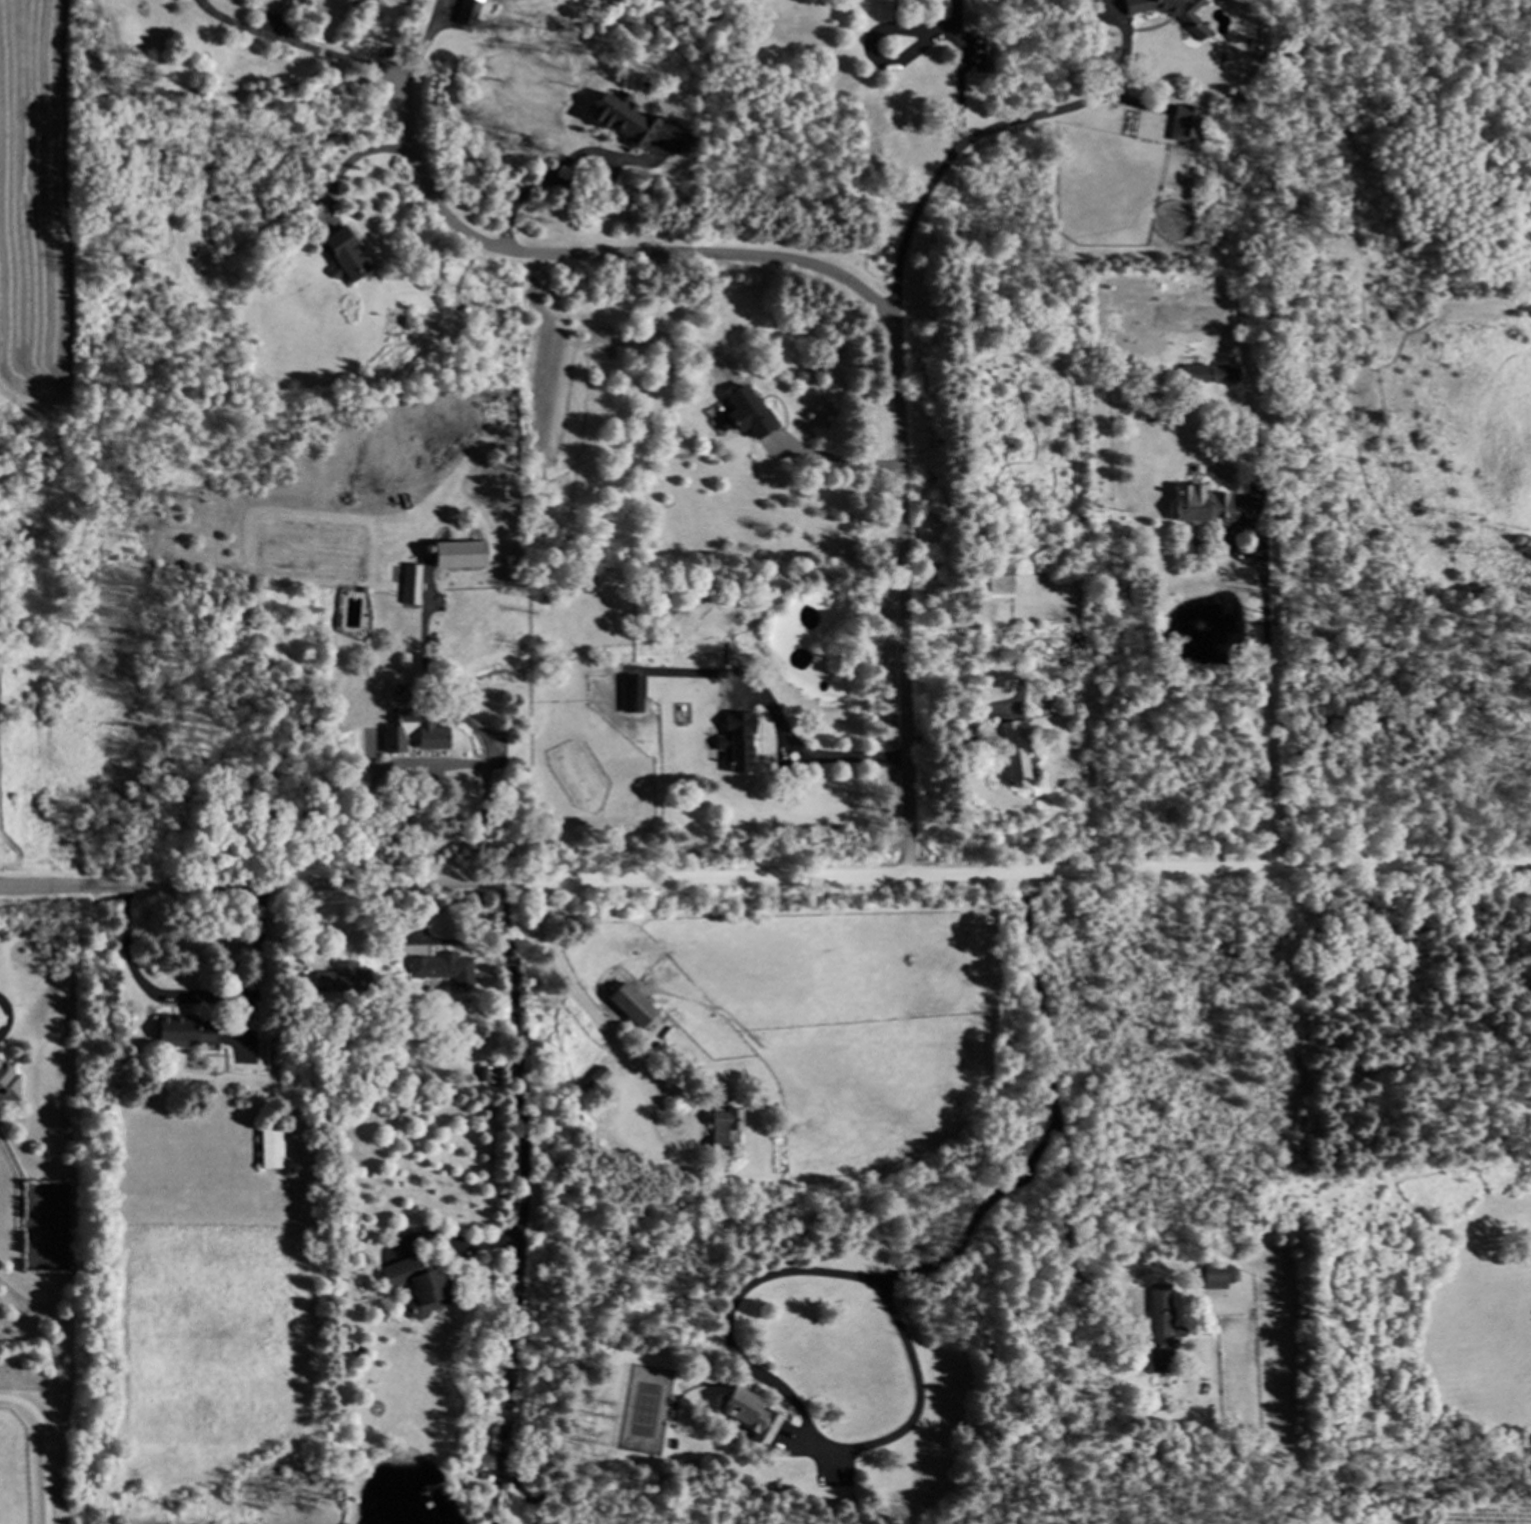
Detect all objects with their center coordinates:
building: (469, 14)
building: (1196, 31)
road: (334, 56)
building: (980, 57)
road: (957, 87)
building: (624, 119)
building: (1183, 125)
road: (964, 138)
road: (575, 156)
road: (353, 159)
building: (349, 258)
road: (874, 295)
building: (1211, 376)
building: (751, 414)
road: (836, 457)
building: (1199, 507)
building: (463, 557)
building: (1002, 588)
building: (635, 696)
road: (1275, 706)
building: (427, 732)
road: (959, 735)
building: (1010, 735)
building: (740, 744)
road: (801, 756)
road: (480, 804)
road: (765, 877)
building: (445, 971)
building: (343, 980)
road: (196, 996)
building: (628, 1004)
road: (4, 1017)
building: (192, 1034)
road: (517, 1049)
road: (630, 1055)
building: (491, 1078)
building: (12, 1082)
road: (1054, 1104)
building: (722, 1129)
building: (275, 1151)
road: (460, 1241)
building: (1216, 1278)
building: (417, 1286)
building: (1159, 1330)
road: (510, 1371)
building: (746, 1414)
road: (898, 1428)
road: (48, 1443)

